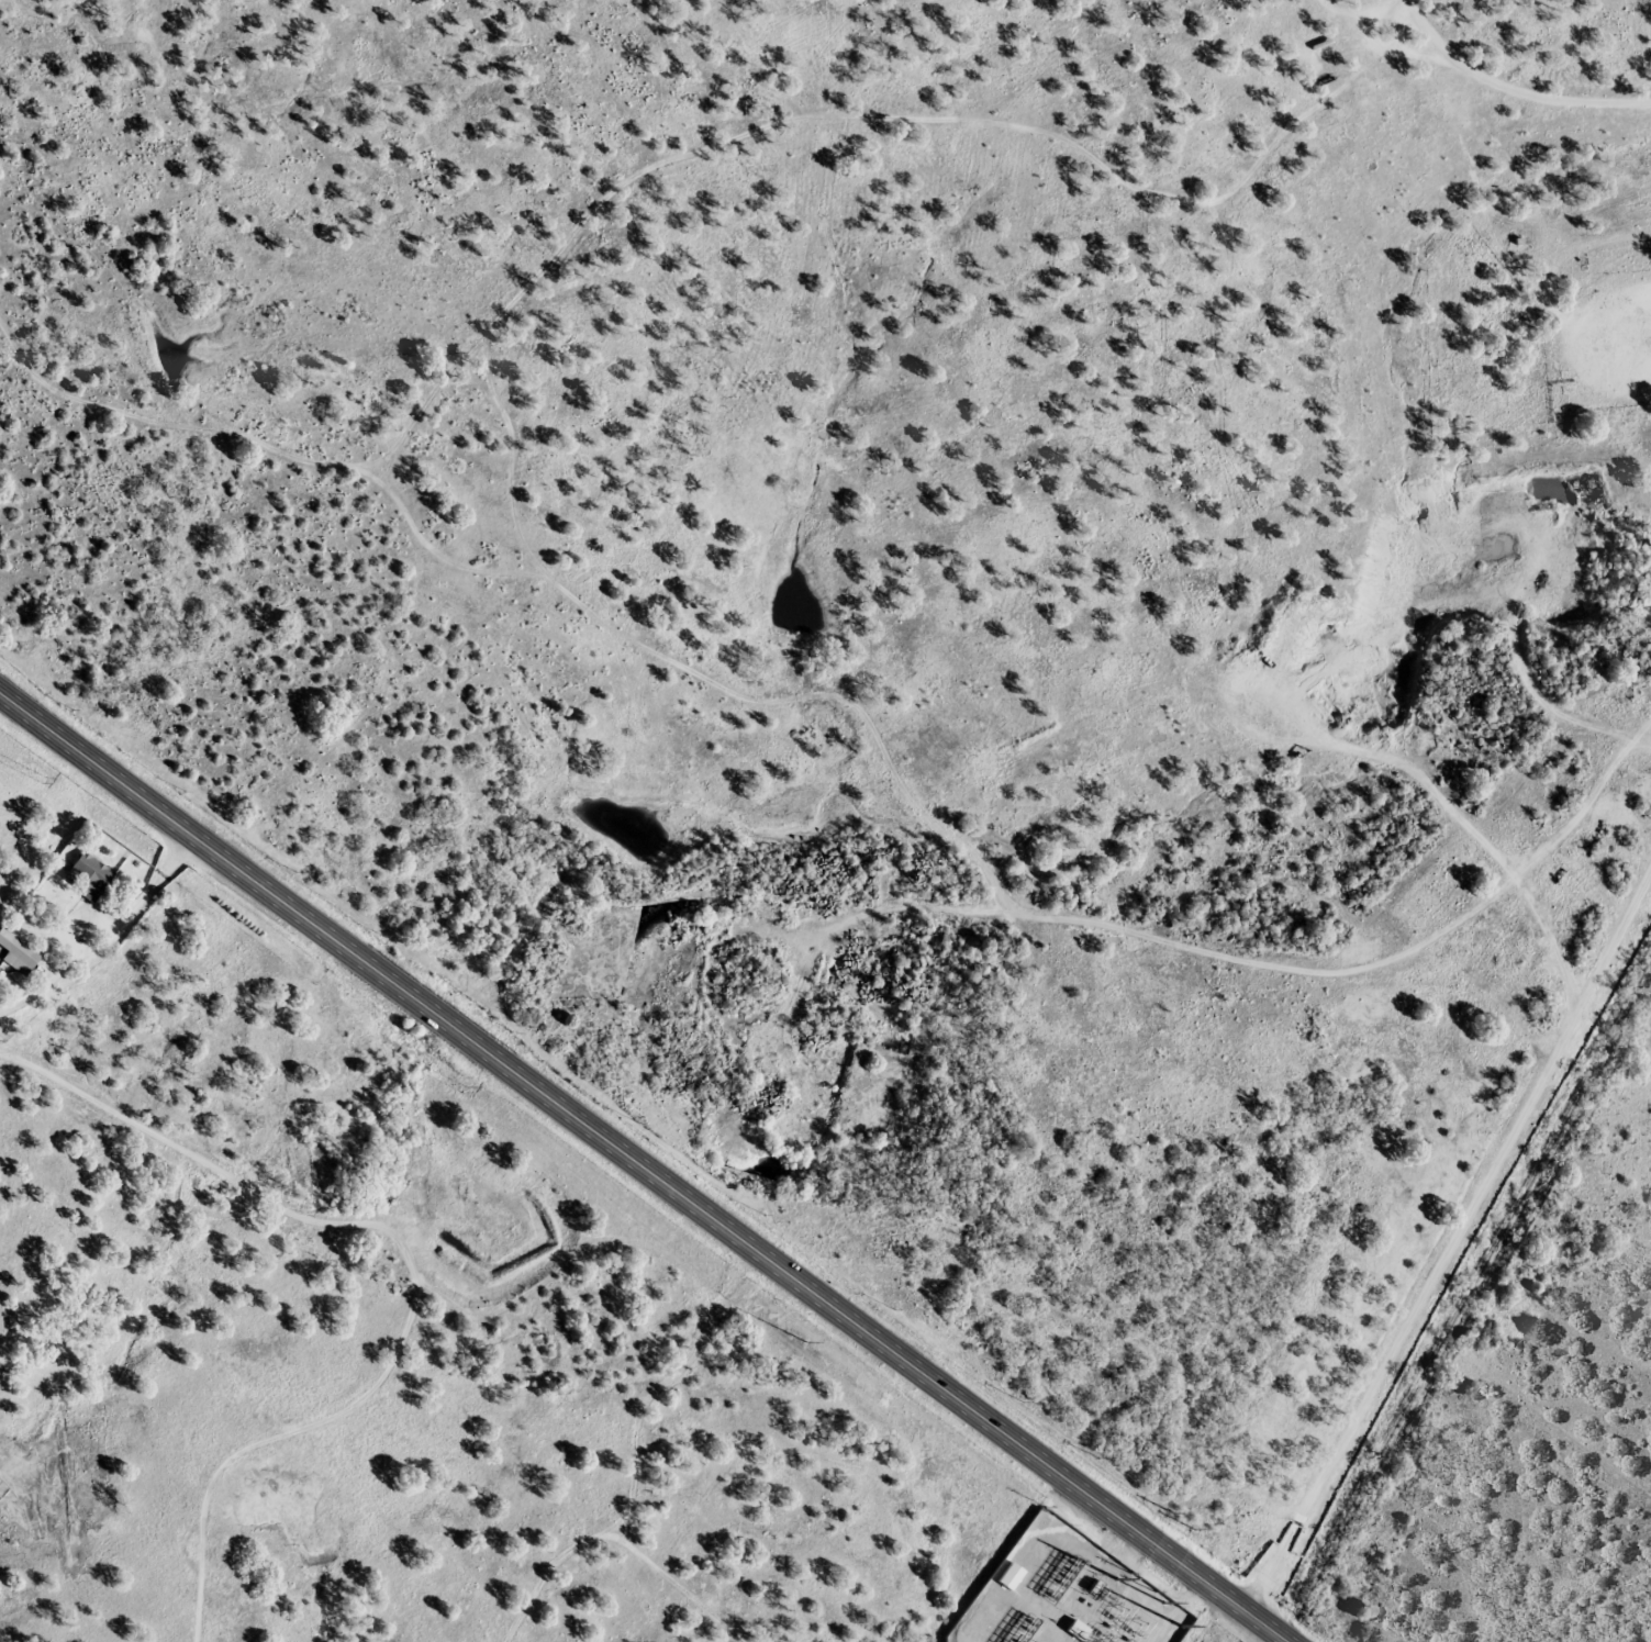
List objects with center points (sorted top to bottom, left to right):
road: (1477, 75)
power tower: (45, 780)
building: (90, 876)
road: (107, 939)
building: (20, 952)
road: (1392, 963)
power tower: (465, 1090)
road: (122, 1109)
road: (375, 1130)
road: (643, 1169)
road: (1457, 1247)
railway: (1465, 1306)
power tower: (886, 1399)
road: (275, 1427)
power substation: (1066, 1595)

